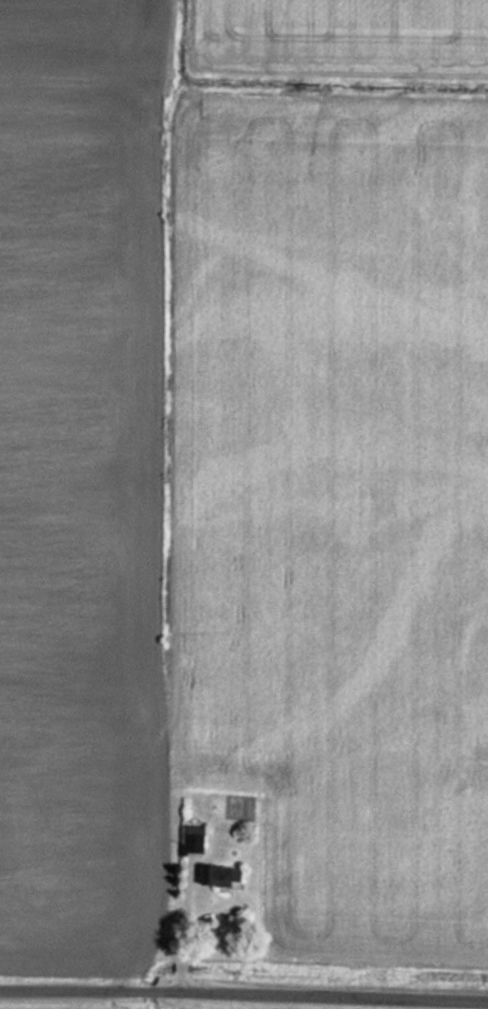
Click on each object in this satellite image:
building: (192, 837)
building: (222, 876)
road: (244, 988)

